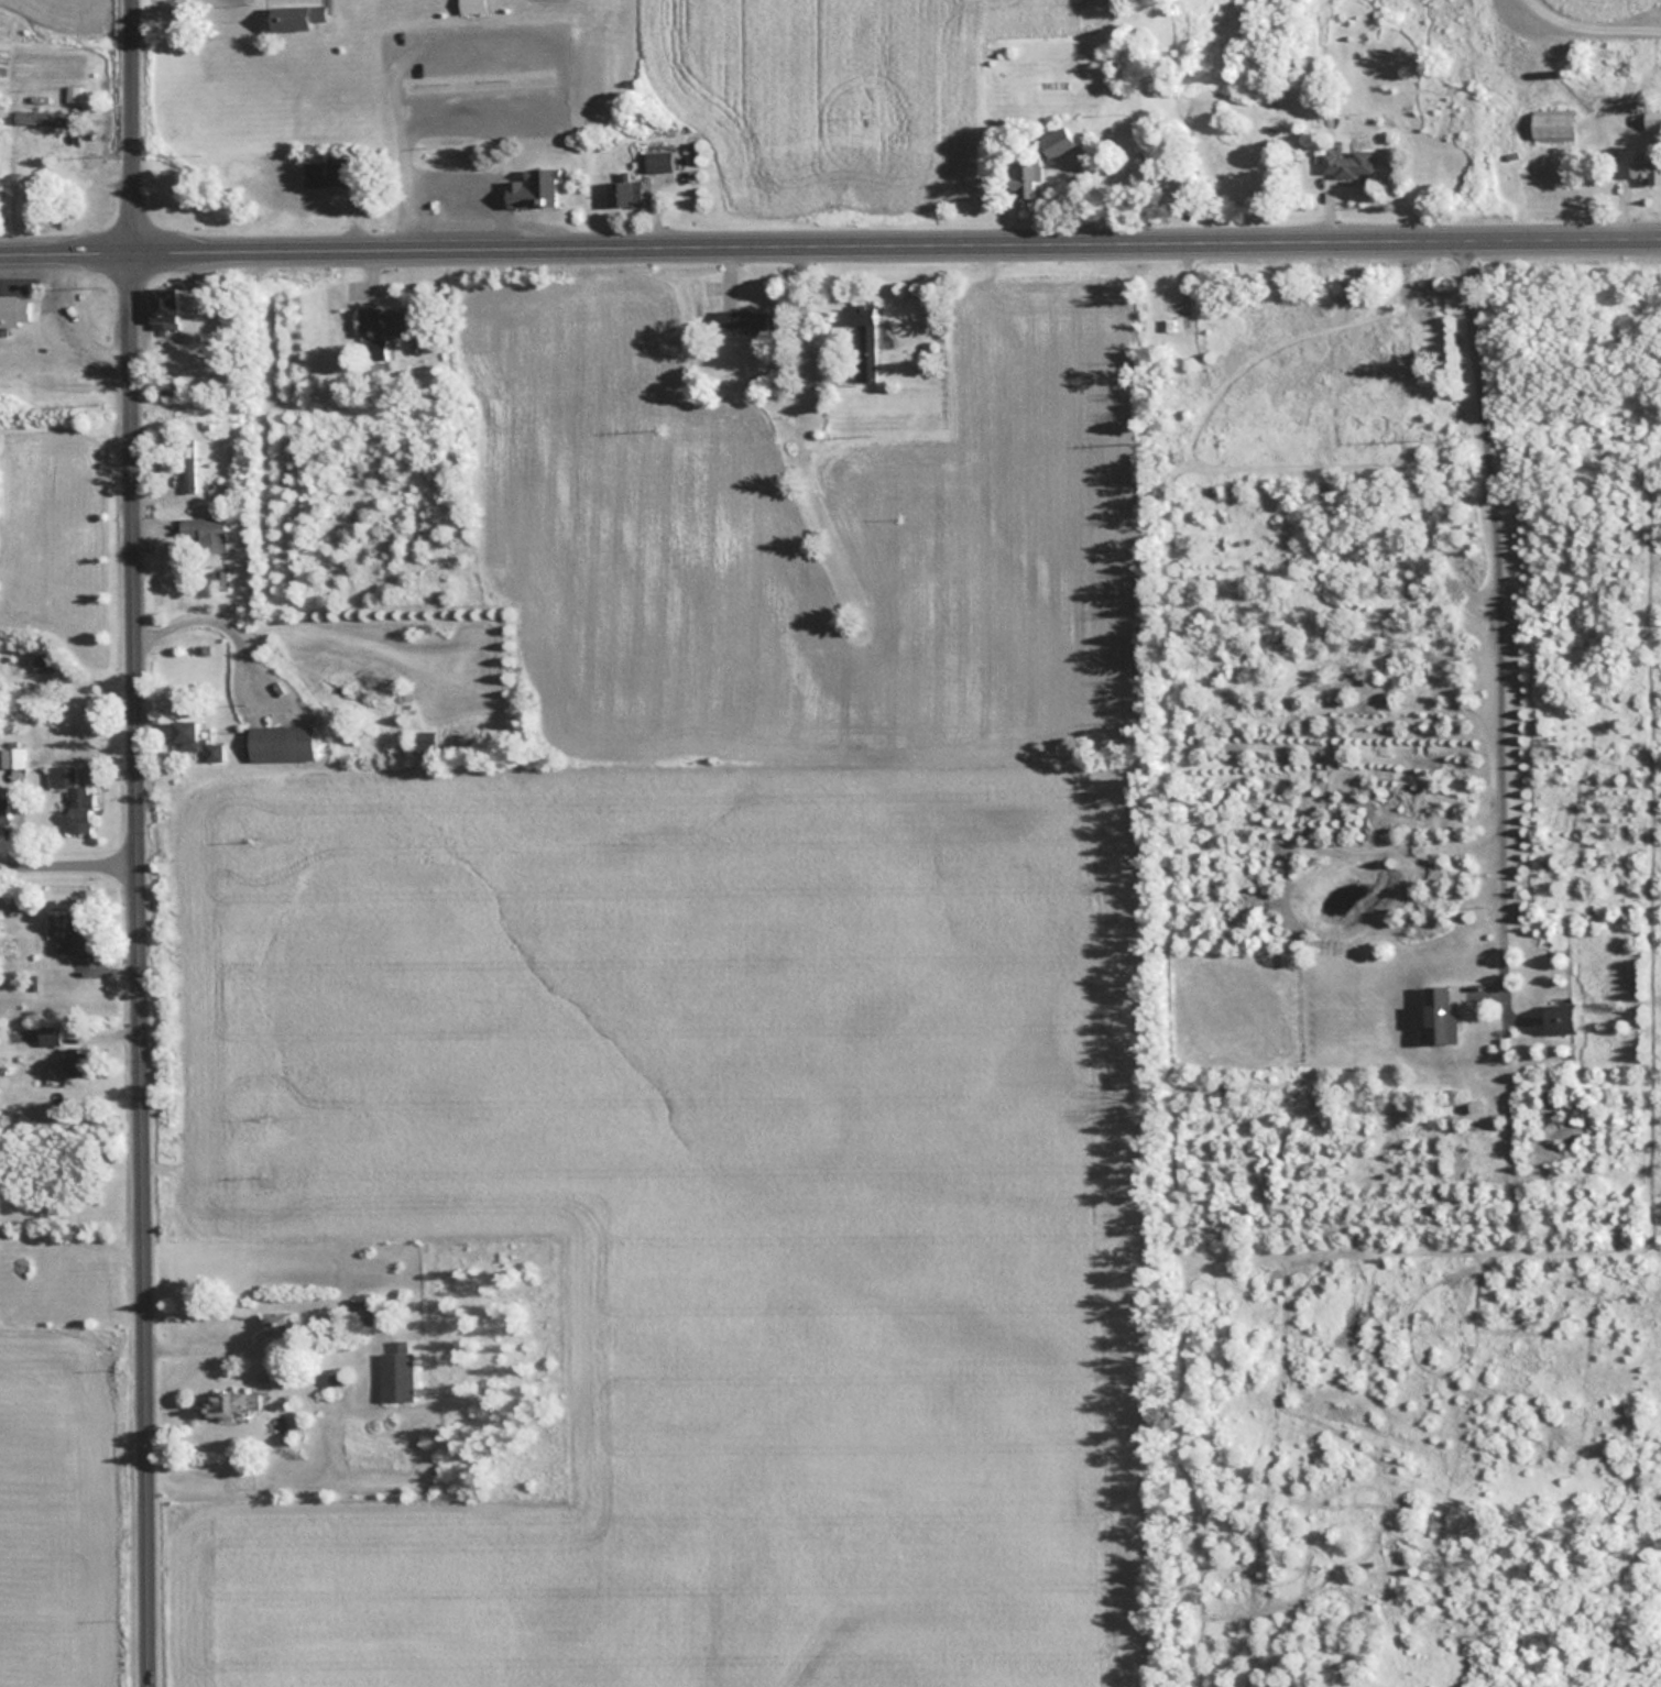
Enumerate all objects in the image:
building: (295, 18)
building: (73, 92)
building: (41, 117)
building: (1551, 123)
building: (1054, 142)
building: (657, 161)
building: (1346, 164)
building: (1647, 171)
building: (328, 173)
building: (1023, 179)
building: (538, 187)
building: (624, 193)
road: (830, 247)
building: (162, 305)
building: (13, 310)
building: (742, 319)
building: (385, 320)
building: (1168, 324)
building: (904, 331)
building: (864, 344)
building: (375, 348)
building: (170, 387)
building: (187, 463)
building: (204, 530)
building: (217, 578)
road: (1497, 617)
building: (44, 662)
building: (195, 738)
building: (278, 741)
building: (423, 741)
building: (73, 798)
building: (6, 813)
road: (141, 843)
road: (70, 870)
building: (78, 932)
building: (1440, 1015)
building: (1560, 1019)
building: (50, 1036)
building: (363, 1311)
building: (397, 1372)
building: (230, 1403)

